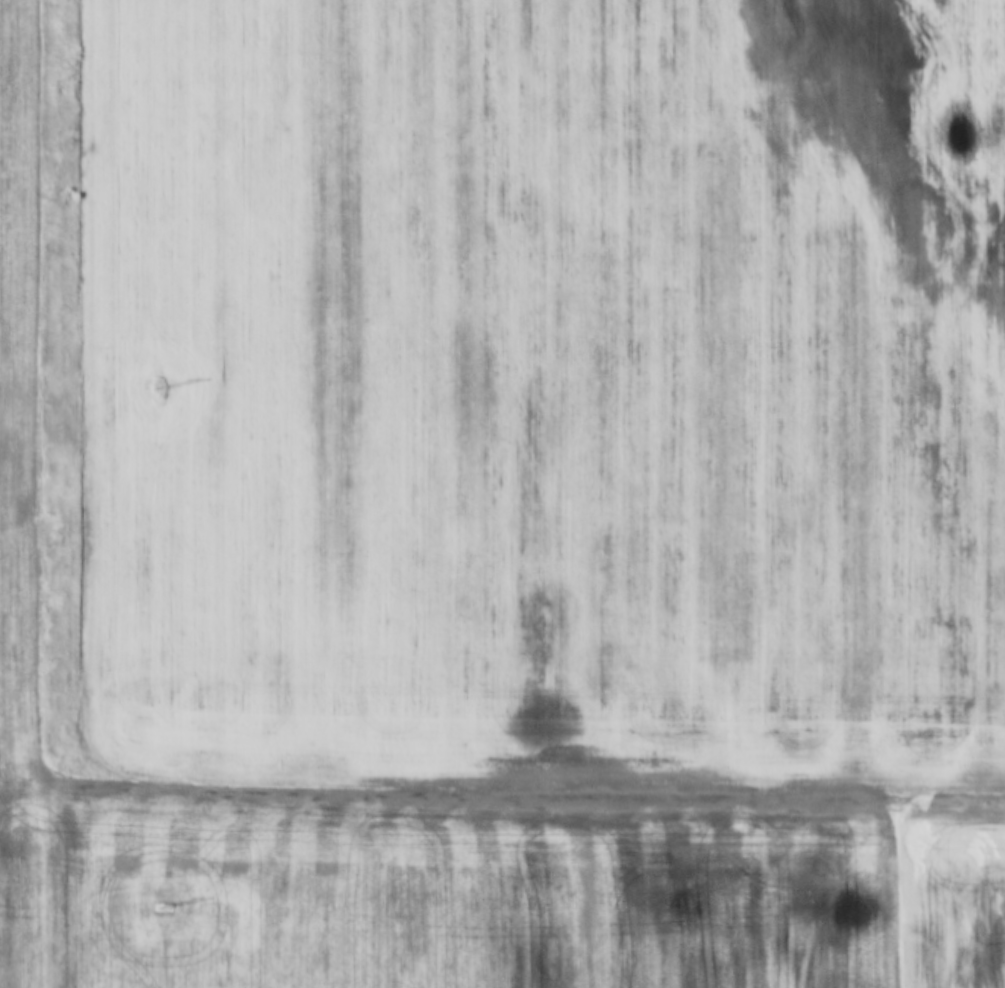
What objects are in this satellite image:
power tower: (159, 386)
power tower: (162, 905)

